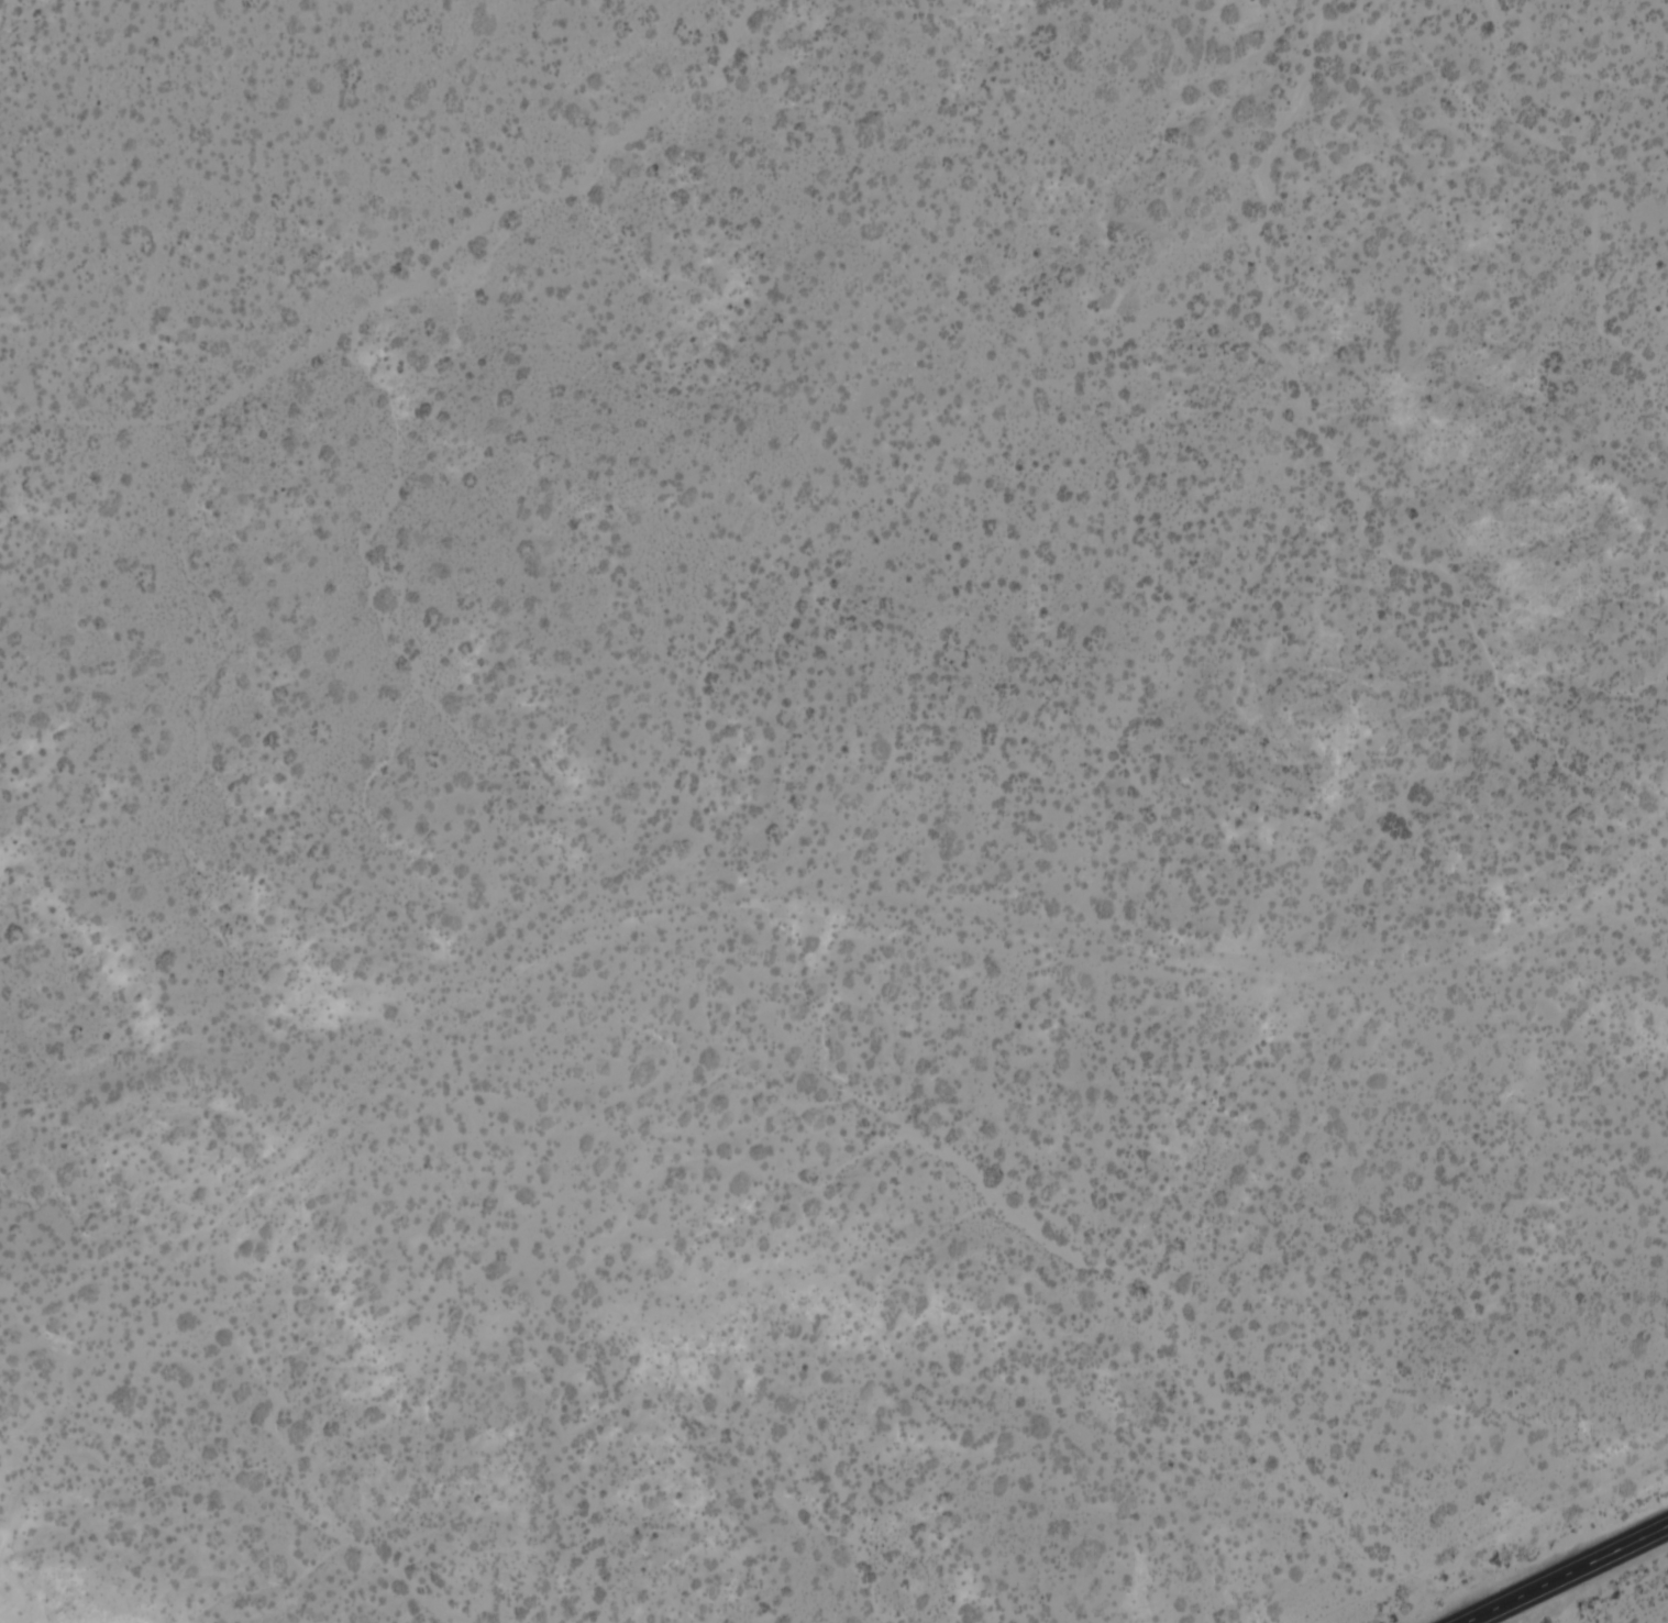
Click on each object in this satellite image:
road: (1562, 1572)

